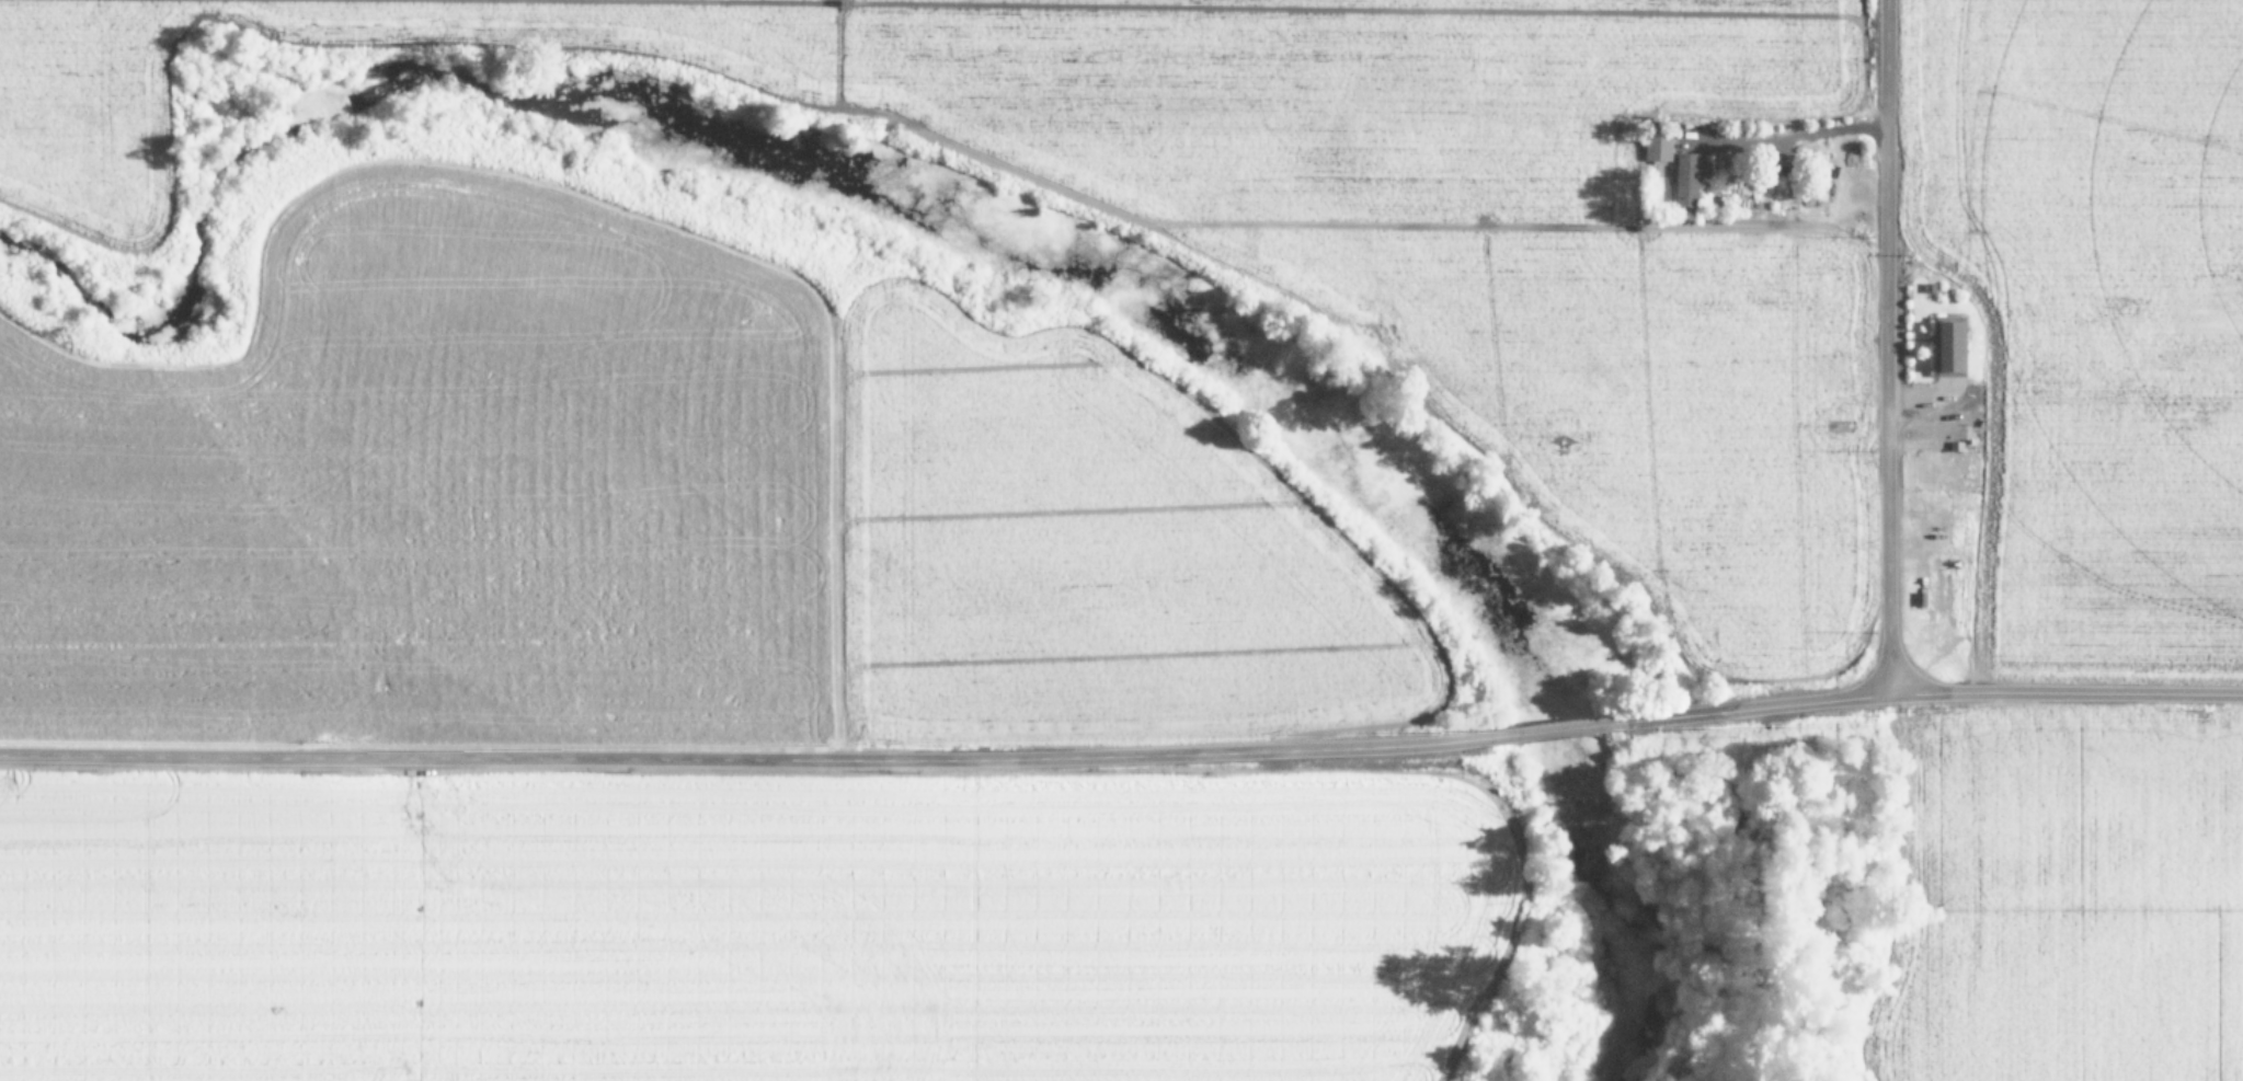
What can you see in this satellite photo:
building: (1657, 147)
building: (1689, 177)
road: (1886, 346)
building: (1947, 347)
crop: (1634, 350)
road: (1504, 461)
crop: (691, 683)
road: (1122, 754)

